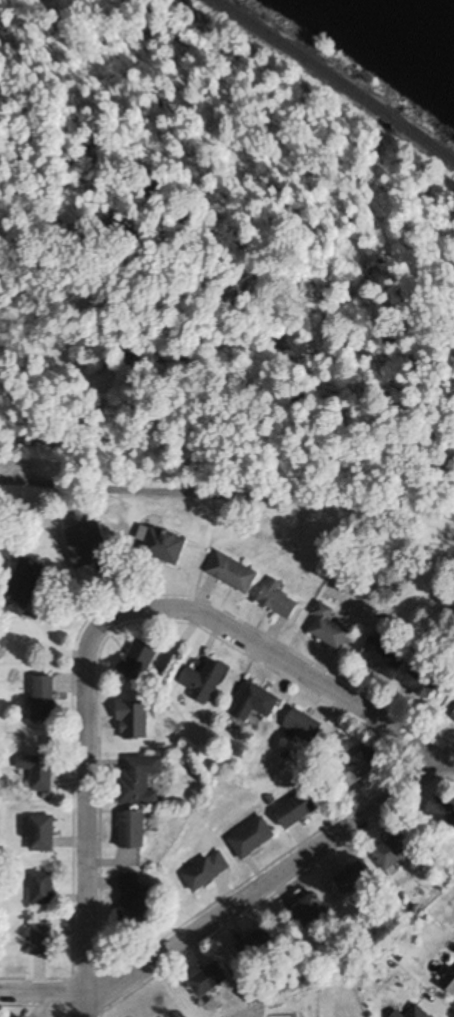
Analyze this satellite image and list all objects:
railway: (333, 78)
road: (227, 491)
building: (164, 546)
building: (233, 573)
building: (21, 591)
building: (278, 599)
building: (328, 627)
building: (382, 657)
building: (139, 660)
road: (281, 664)
building: (204, 681)
building: (424, 681)
building: (42, 699)
building: (254, 702)
building: (453, 713)
building: (303, 726)
building: (352, 770)
building: (41, 773)
building: (140, 780)
road: (85, 804)
building: (296, 810)
building: (441, 812)
building: (132, 830)
building: (39, 833)
building: (251, 838)
building: (392, 852)
building: (206, 871)
building: (354, 878)
building: (41, 888)
building: (132, 901)
road: (231, 905)
building: (306, 911)
building: (42, 940)
building: (259, 948)
building: (206, 981)
building: (449, 983)
road: (85, 1005)
building: (418, 1013)
building: (396, 1015)

